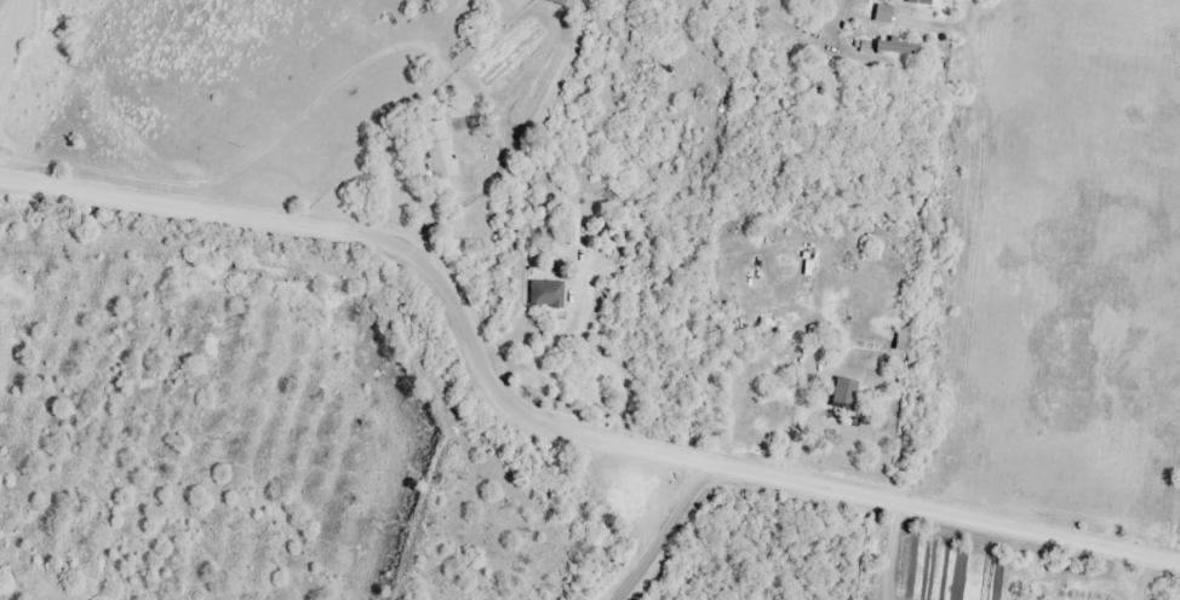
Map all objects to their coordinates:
building: (562, 1)
road: (983, 71)
road: (165, 203)
road: (489, 377)
road: (943, 509)
road: (665, 533)

